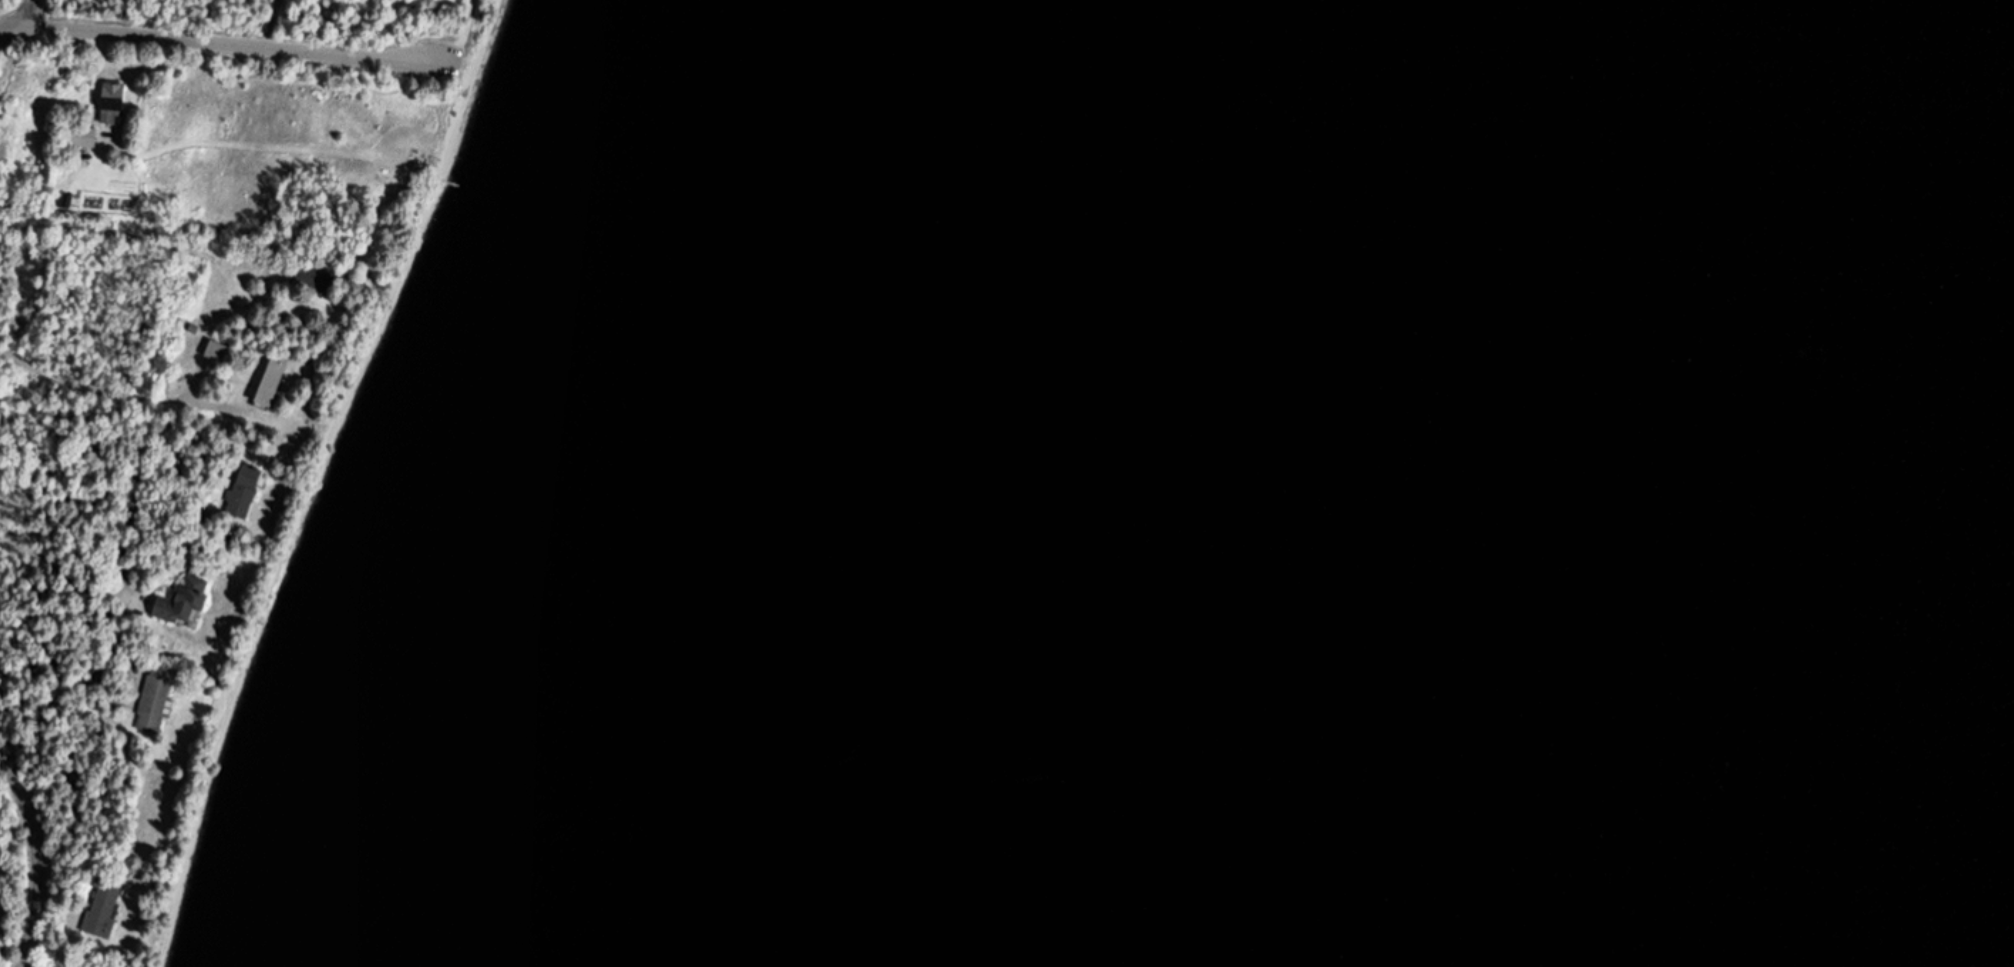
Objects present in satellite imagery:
road: (23, 12)
road: (273, 24)
road: (465, 33)
road: (222, 43)
road: (141, 72)
building: (114, 102)
building: (84, 136)
building: (68, 201)
building: (262, 269)
building: (326, 277)
building: (218, 350)
building: (273, 380)
road: (105, 389)
building: (244, 491)
road: (64, 563)
building: (184, 599)
building: (154, 700)
road: (41, 860)
building: (104, 907)

